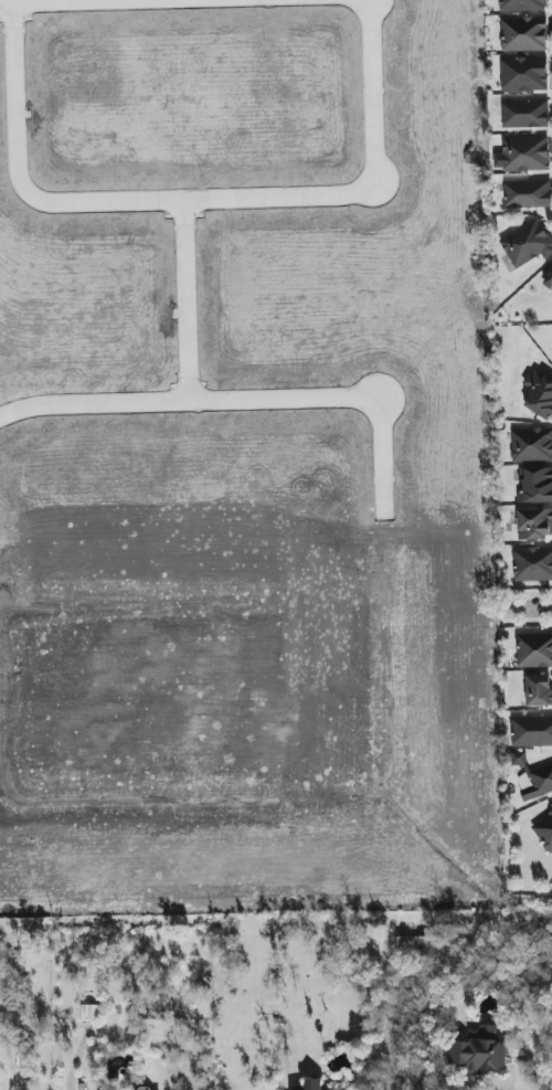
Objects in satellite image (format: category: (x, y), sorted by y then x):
road: (42, 0)
road: (7, 1)
building: (522, 6)
building: (523, 34)
building: (523, 74)
building: (524, 114)
building: (522, 154)
building: (527, 194)
road: (199, 198)
building: (527, 244)
building: (550, 285)
road: (185, 299)
building: (538, 392)
road: (250, 400)
building: (531, 445)
building: (537, 485)
building: (532, 564)
road: (535, 606)
building: (534, 650)
building: (538, 690)
building: (531, 731)
building: (535, 784)
building: (551, 803)
building: (544, 833)
building: (412, 943)
building: (91, 1014)
building: (484, 1051)
road: (418, 1080)
building: (314, 1084)

